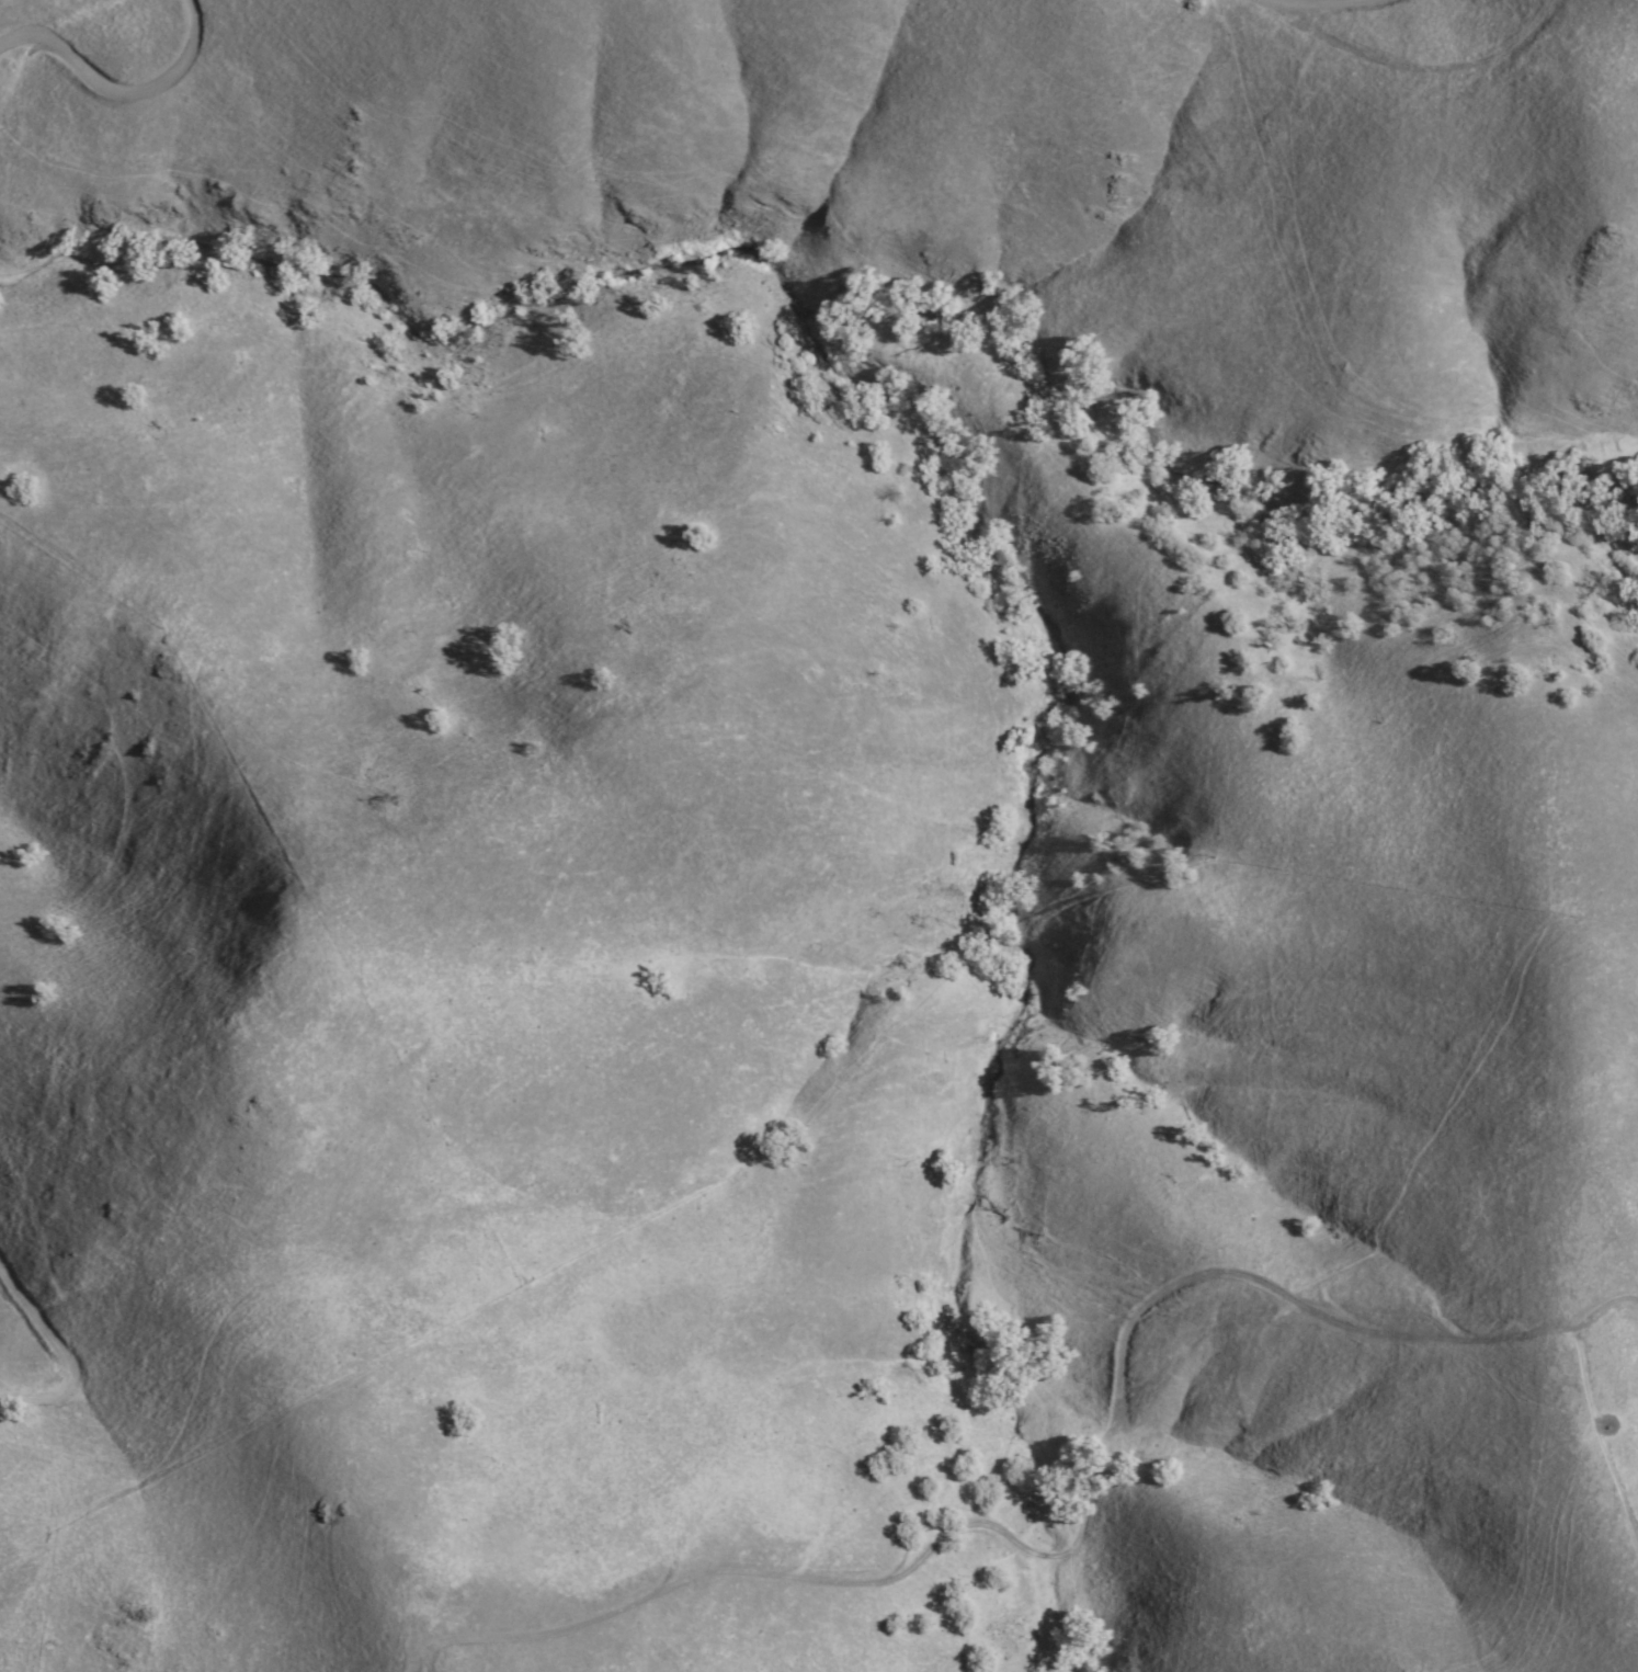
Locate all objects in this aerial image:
road: (1321, 7)
road: (118, 83)

